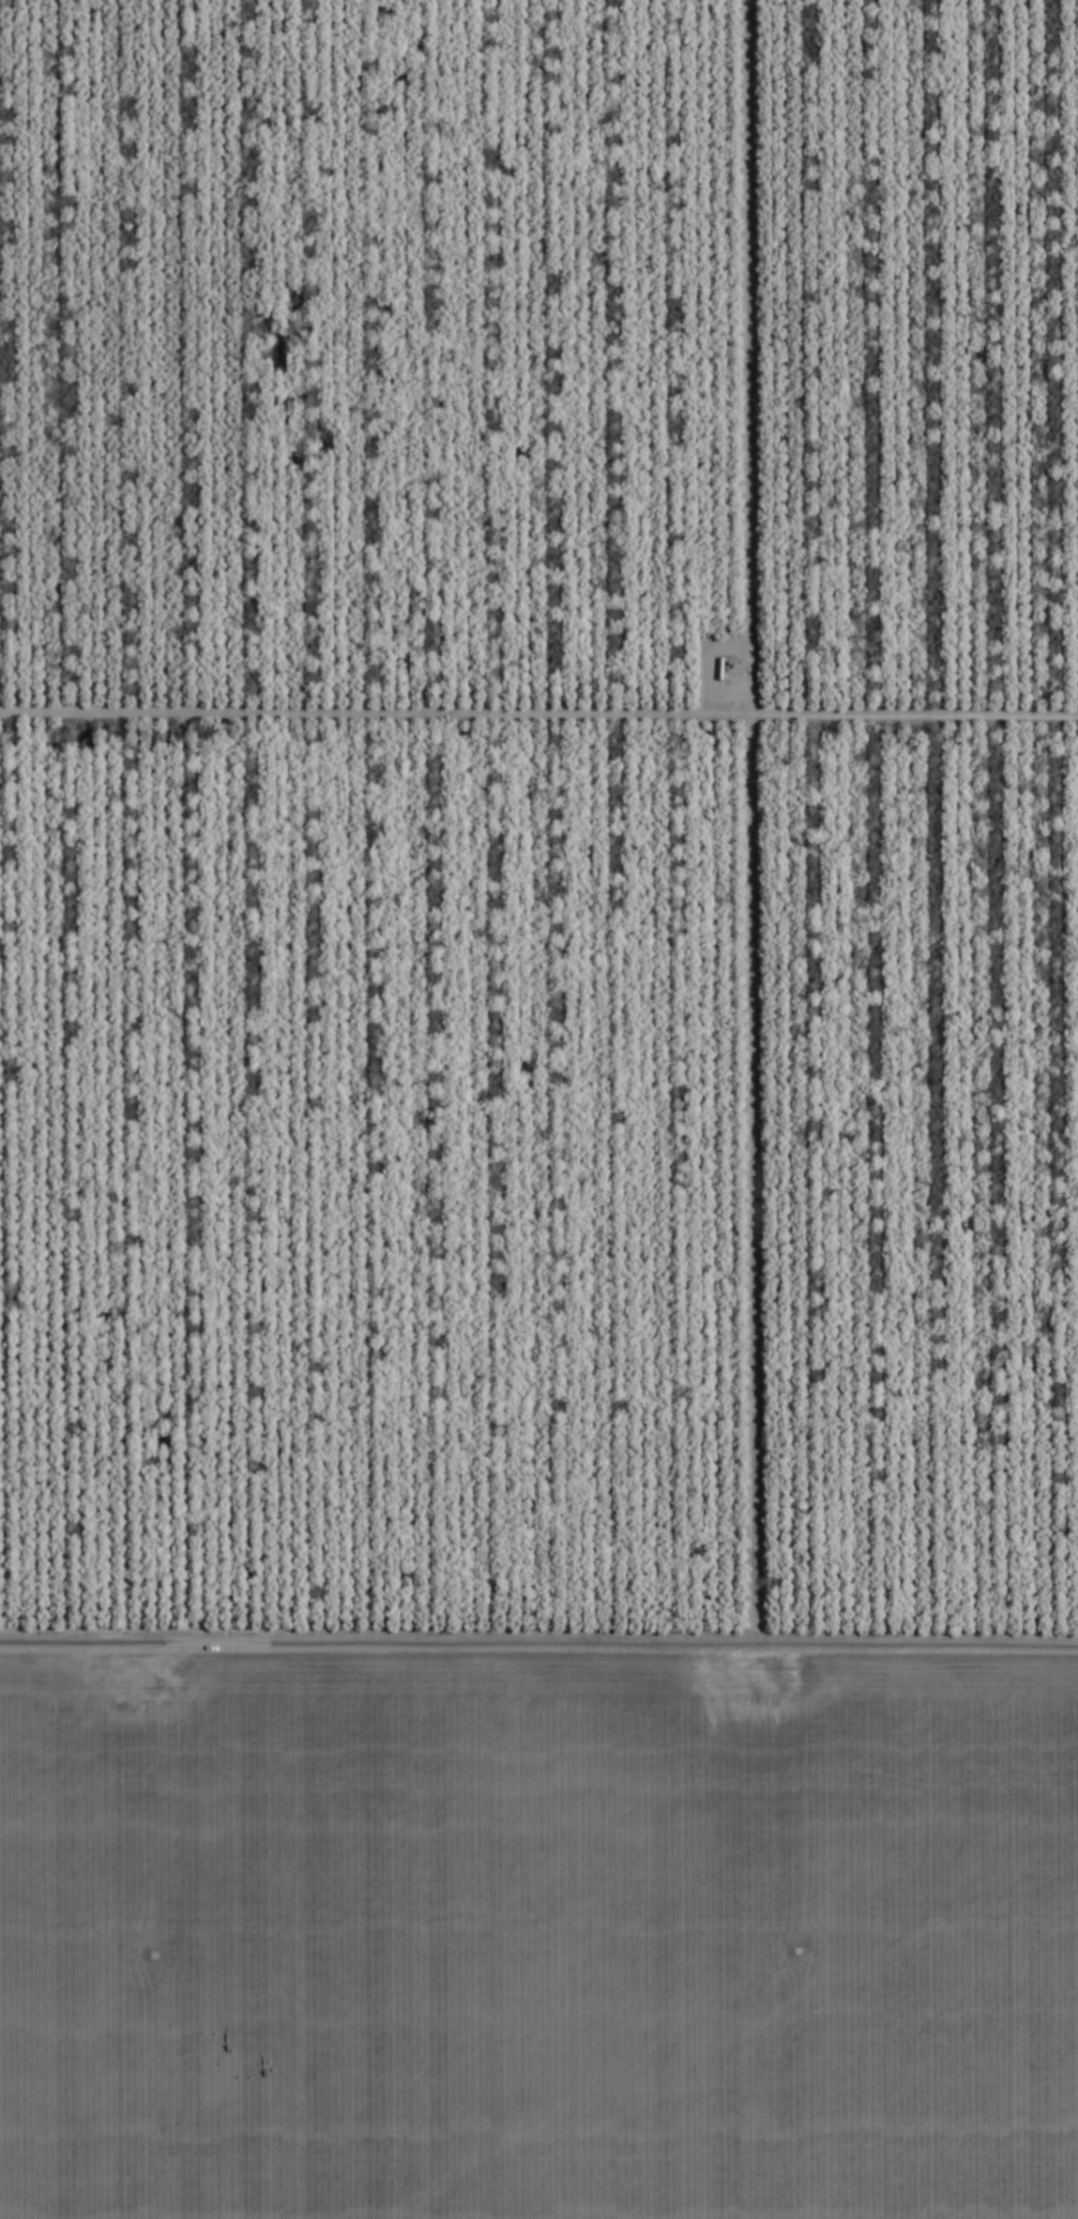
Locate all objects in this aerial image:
crop: (539, 1109)
road: (539, 1620)

